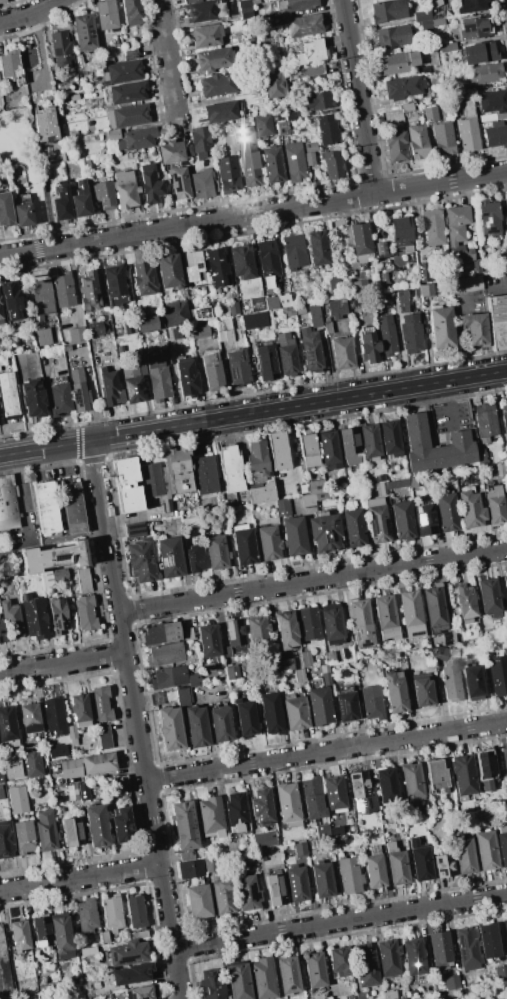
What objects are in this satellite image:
building: (3, 1)
building: (255, 1)
building: (435, 3)
building: (295, 4)
building: (468, 6)
building: (205, 11)
building: (241, 11)
building: (387, 11)
building: (131, 12)
road: (28, 13)
building: (106, 15)
building: (273, 15)
building: (421, 16)
building: (437, 22)
building: (303, 25)
building: (425, 27)
building: (473, 27)
building: (84, 32)
building: (206, 36)
building: (393, 36)
road: (40, 47)
building: (446, 47)
building: (61, 51)
building: (130, 52)
building: (311, 52)
building: (477, 53)
building: (106, 57)
building: (214, 59)
building: (264, 59)
building: (78, 62)
road: (168, 62)
building: (397, 62)
building: (11, 67)
building: (427, 69)
building: (121, 72)
building: (310, 72)
building: (484, 74)
building: (218, 84)
building: (274, 85)
building: (404, 87)
building: (459, 89)
building: (125, 92)
building: (436, 94)
building: (78, 96)
building: (246, 97)
road: (358, 97)
building: (60, 98)
building: (318, 100)
building: (492, 101)
building: (406, 107)
building: (453, 107)
building: (221, 112)
building: (429, 114)
building: (127, 116)
building: (291, 116)
building: (492, 117)
building: (43, 124)
building: (262, 125)
building: (467, 127)
building: (282, 129)
building: (327, 130)
building: (112, 135)
building: (496, 135)
building: (136, 139)
building: (443, 139)
building: (200, 140)
building: (227, 141)
building: (417, 142)
building: (309, 147)
building: (395, 147)
building: (188, 150)
building: (170, 152)
building: (129, 156)
building: (247, 156)
park: (24, 158)
building: (309, 159)
building: (293, 161)
building: (332, 164)
building: (272, 165)
building: (228, 174)
building: (180, 183)
building: (203, 183)
building: (150, 185)
building: (125, 189)
building: (102, 194)
building: (80, 200)
building: (506, 200)
building: (61, 204)
road: (288, 207)
building: (5, 209)
building: (23, 215)
building: (489, 218)
building: (456, 223)
building: (433, 226)
building: (401, 234)
building: (360, 242)
building: (318, 248)
building: (378, 248)
road: (35, 251)
building: (293, 252)
building: (462, 254)
building: (422, 257)
building: (268, 259)
building: (242, 261)
building: (217, 267)
building: (193, 268)
building: (477, 268)
building: (168, 272)
building: (384, 277)
building: (144, 278)
building: (267, 282)
building: (467, 284)
building: (113, 285)
building: (334, 285)
road: (497, 286)
building: (360, 287)
building: (63, 290)
building: (425, 290)
building: (89, 291)
building: (42, 298)
building: (11, 300)
building: (0, 301)
building: (275, 302)
building: (256, 304)
building: (400, 304)
building: (336, 308)
building: (233, 309)
building: (289, 311)
building: (175, 313)
building: (199, 314)
building: (317, 316)
building: (1, 317)
building: (497, 319)
building: (254, 320)
building: (149, 324)
building: (328, 326)
building: (442, 327)
building: (98, 329)
building: (475, 329)
building: (128, 330)
building: (223, 330)
building: (199, 331)
building: (411, 333)
building: (76, 335)
building: (386, 335)
building: (43, 337)
road: (458, 338)
building: (369, 347)
building: (311, 350)
building: (343, 353)
building: (286, 355)
building: (2, 360)
building: (72, 362)
building: (266, 362)
building: (237, 367)
building: (212, 371)
building: (158, 374)
building: (187, 378)
building: (133, 383)
building: (110, 387)
building: (79, 391)
building: (8, 394)
building: (58, 398)
building: (32, 399)
road: (22, 403)
road: (448, 403)
road: (298, 405)
building: (504, 418)
building: (485, 422)
building: (390, 438)
building: (370, 441)
building: (460, 443)
building: (350, 445)
road: (44, 448)
building: (277, 450)
building: (308, 450)
building: (329, 450)
building: (481, 456)
building: (256, 461)
building: (178, 469)
building: (230, 469)
building: (500, 469)
building: (204, 475)
building: (379, 478)
building: (152, 480)
building: (412, 481)
building: (396, 484)
building: (127, 485)
building: (317, 487)
building: (378, 488)
building: (262, 493)
road: (20, 496)
building: (312, 499)
building: (7, 505)
building: (494, 506)
building: (46, 507)
building: (281, 507)
building: (72, 508)
building: (470, 510)
building: (447, 512)
building: (378, 520)
building: (425, 520)
building: (402, 521)
building: (133, 526)
building: (353, 528)
building: (325, 532)
building: (293, 536)
building: (268, 543)
building: (243, 544)
building: (216, 552)
building: (56, 556)
building: (169, 557)
building: (195, 558)
building: (141, 562)
building: (59, 575)
building: (83, 580)
road: (312, 581)
building: (505, 584)
building: (490, 597)
building: (466, 603)
building: (434, 606)
building: (85, 613)
building: (411, 613)
building: (58, 616)
building: (386, 617)
building: (35, 618)
building: (11, 620)
building: (361, 623)
building: (309, 624)
building: (332, 624)
building: (506, 627)
building: (285, 629)
building: (1, 632)
building: (161, 633)
building: (257, 633)
building: (188, 634)
building: (233, 636)
building: (208, 641)
building: (439, 653)
building: (347, 654)
building: (167, 655)
building: (330, 657)
building: (305, 659)
building: (321, 662)
road: (62, 664)
building: (285, 665)
building: (324, 669)
building: (232, 673)
building: (498, 674)
building: (298, 675)
building: (173, 678)
building: (451, 682)
building: (473, 682)
building: (422, 689)
building: (394, 692)
building: (182, 696)
building: (371, 702)
building: (100, 704)
building: (319, 704)
building: (346, 706)
building: (295, 712)
building: (270, 713)
building: (52, 715)
building: (77, 716)
building: (30, 717)
building: (245, 718)
road: (135, 719)
road: (207, 722)
building: (8, 724)
building: (221, 724)
building: (196, 726)
building: (170, 728)
building: (104, 735)
building: (74, 751)
road: (326, 751)
building: (504, 762)
building: (32, 764)
building: (87, 765)
building: (484, 769)
building: (8, 776)
building: (463, 776)
building: (1, 777)
building: (436, 777)
building: (358, 785)
building: (412, 785)
building: (386, 786)
building: (72, 792)
building: (334, 794)
building: (312, 799)
building: (17, 800)
building: (287, 804)
building: (464, 807)
building: (260, 808)
building: (236, 812)
building: (431, 813)
building: (210, 817)
building: (120, 823)
building: (96, 825)
building: (184, 826)
building: (45, 830)
building: (71, 831)
building: (323, 831)
building: (23, 837)
building: (263, 839)
building: (6, 840)
building: (502, 843)
building: (300, 850)
building: (486, 850)
building: (260, 854)
building: (464, 854)
building: (420, 860)
building: (396, 864)
building: (443, 865)
building: (374, 868)
building: (190, 869)
building: (348, 875)
road: (80, 877)
building: (323, 880)
building: (297, 884)
building: (276, 890)
building: (248, 894)
building: (115, 895)
building: (223, 897)
building: (197, 901)
building: (135, 912)
building: (112, 914)
building: (87, 916)
road: (339, 921)
building: (505, 931)
building: (42, 932)
building: (140, 933)
building: (19, 936)
building: (105, 937)
building: (62, 938)
building: (488, 941)
building: (468, 948)
building: (439, 950)
building: (125, 953)
building: (387, 958)
building: (414, 958)
road: (325, 959)
building: (339, 961)
building: (4, 966)
building: (365, 966)
building: (315, 970)
building: (500, 973)
building: (131, 974)
building: (289, 976)
building: (263, 978)
building: (238, 981)
building: (451, 982)
building: (46, 984)
building: (95, 985)
building: (211, 985)
building: (141, 992)
building: (360, 995)
building: (389, 995)
building: (440, 995)
building: (403, 998)

